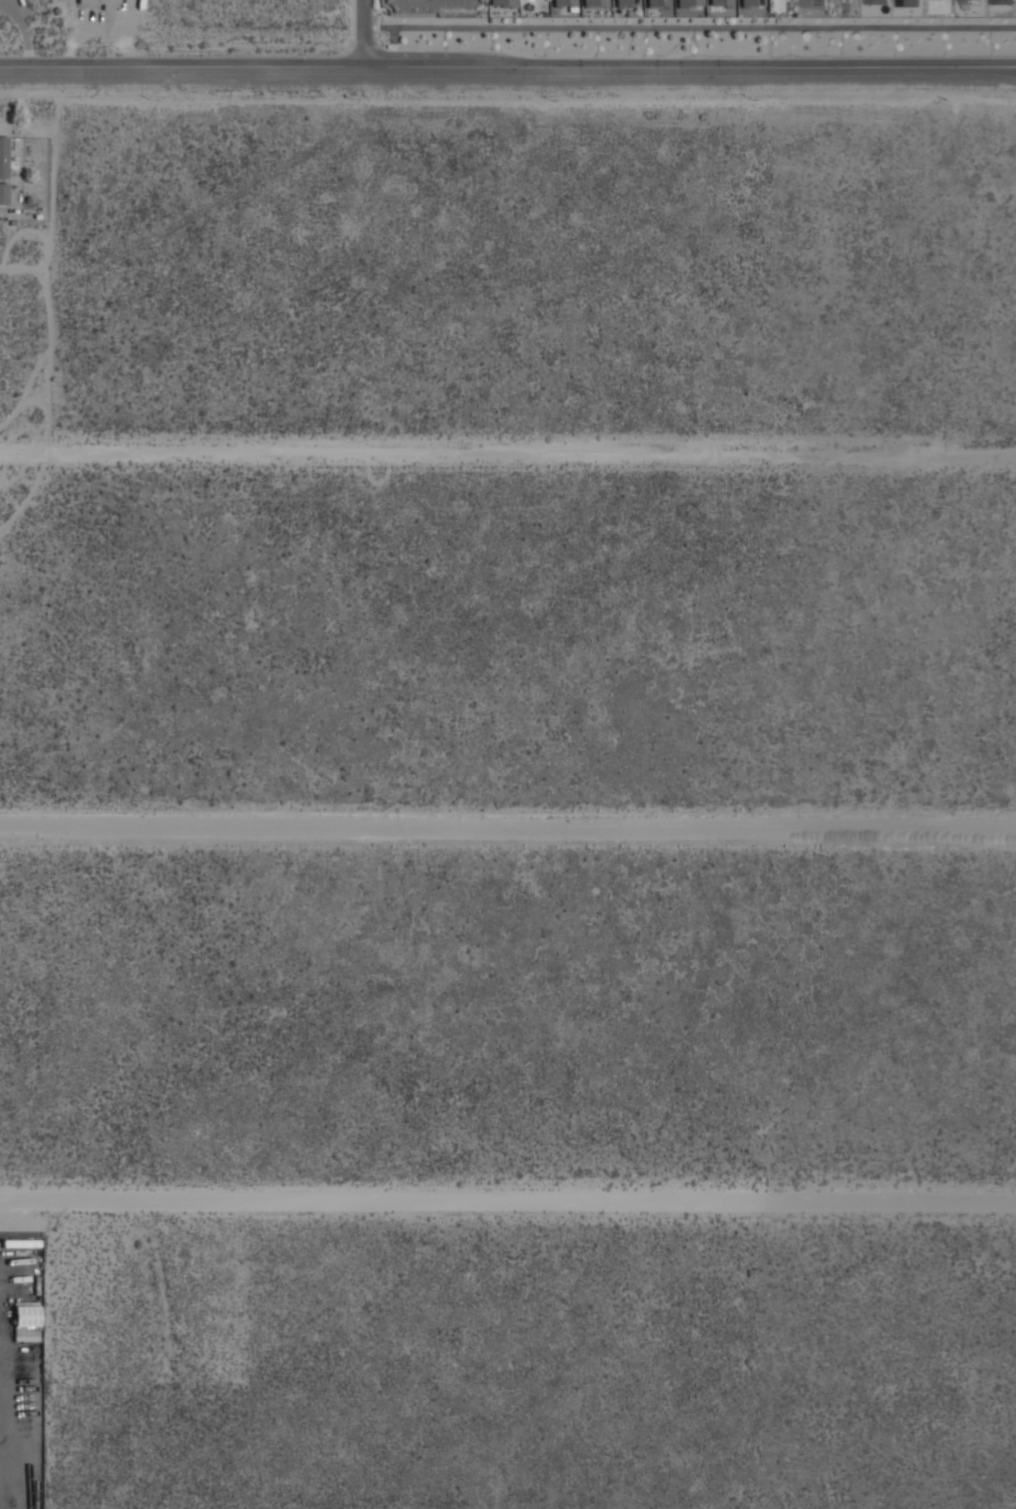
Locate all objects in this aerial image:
building: (875, 1)
building: (969, 1)
building: (1000, 1)
building: (97, 2)
building: (562, 2)
building: (750, 2)
building: (906, 2)
building: (501, 3)
building: (594, 3)
building: (625, 3)
building: (657, 3)
building: (688, 3)
building: (719, 3)
building: (812, 3)
park: (436, 7)
road: (685, 26)
road: (366, 32)
road: (507, 65)
building: (3, 156)
building: (3, 193)
road: (508, 454)
road: (508, 829)
road: (508, 1200)
building: (25, 1315)

